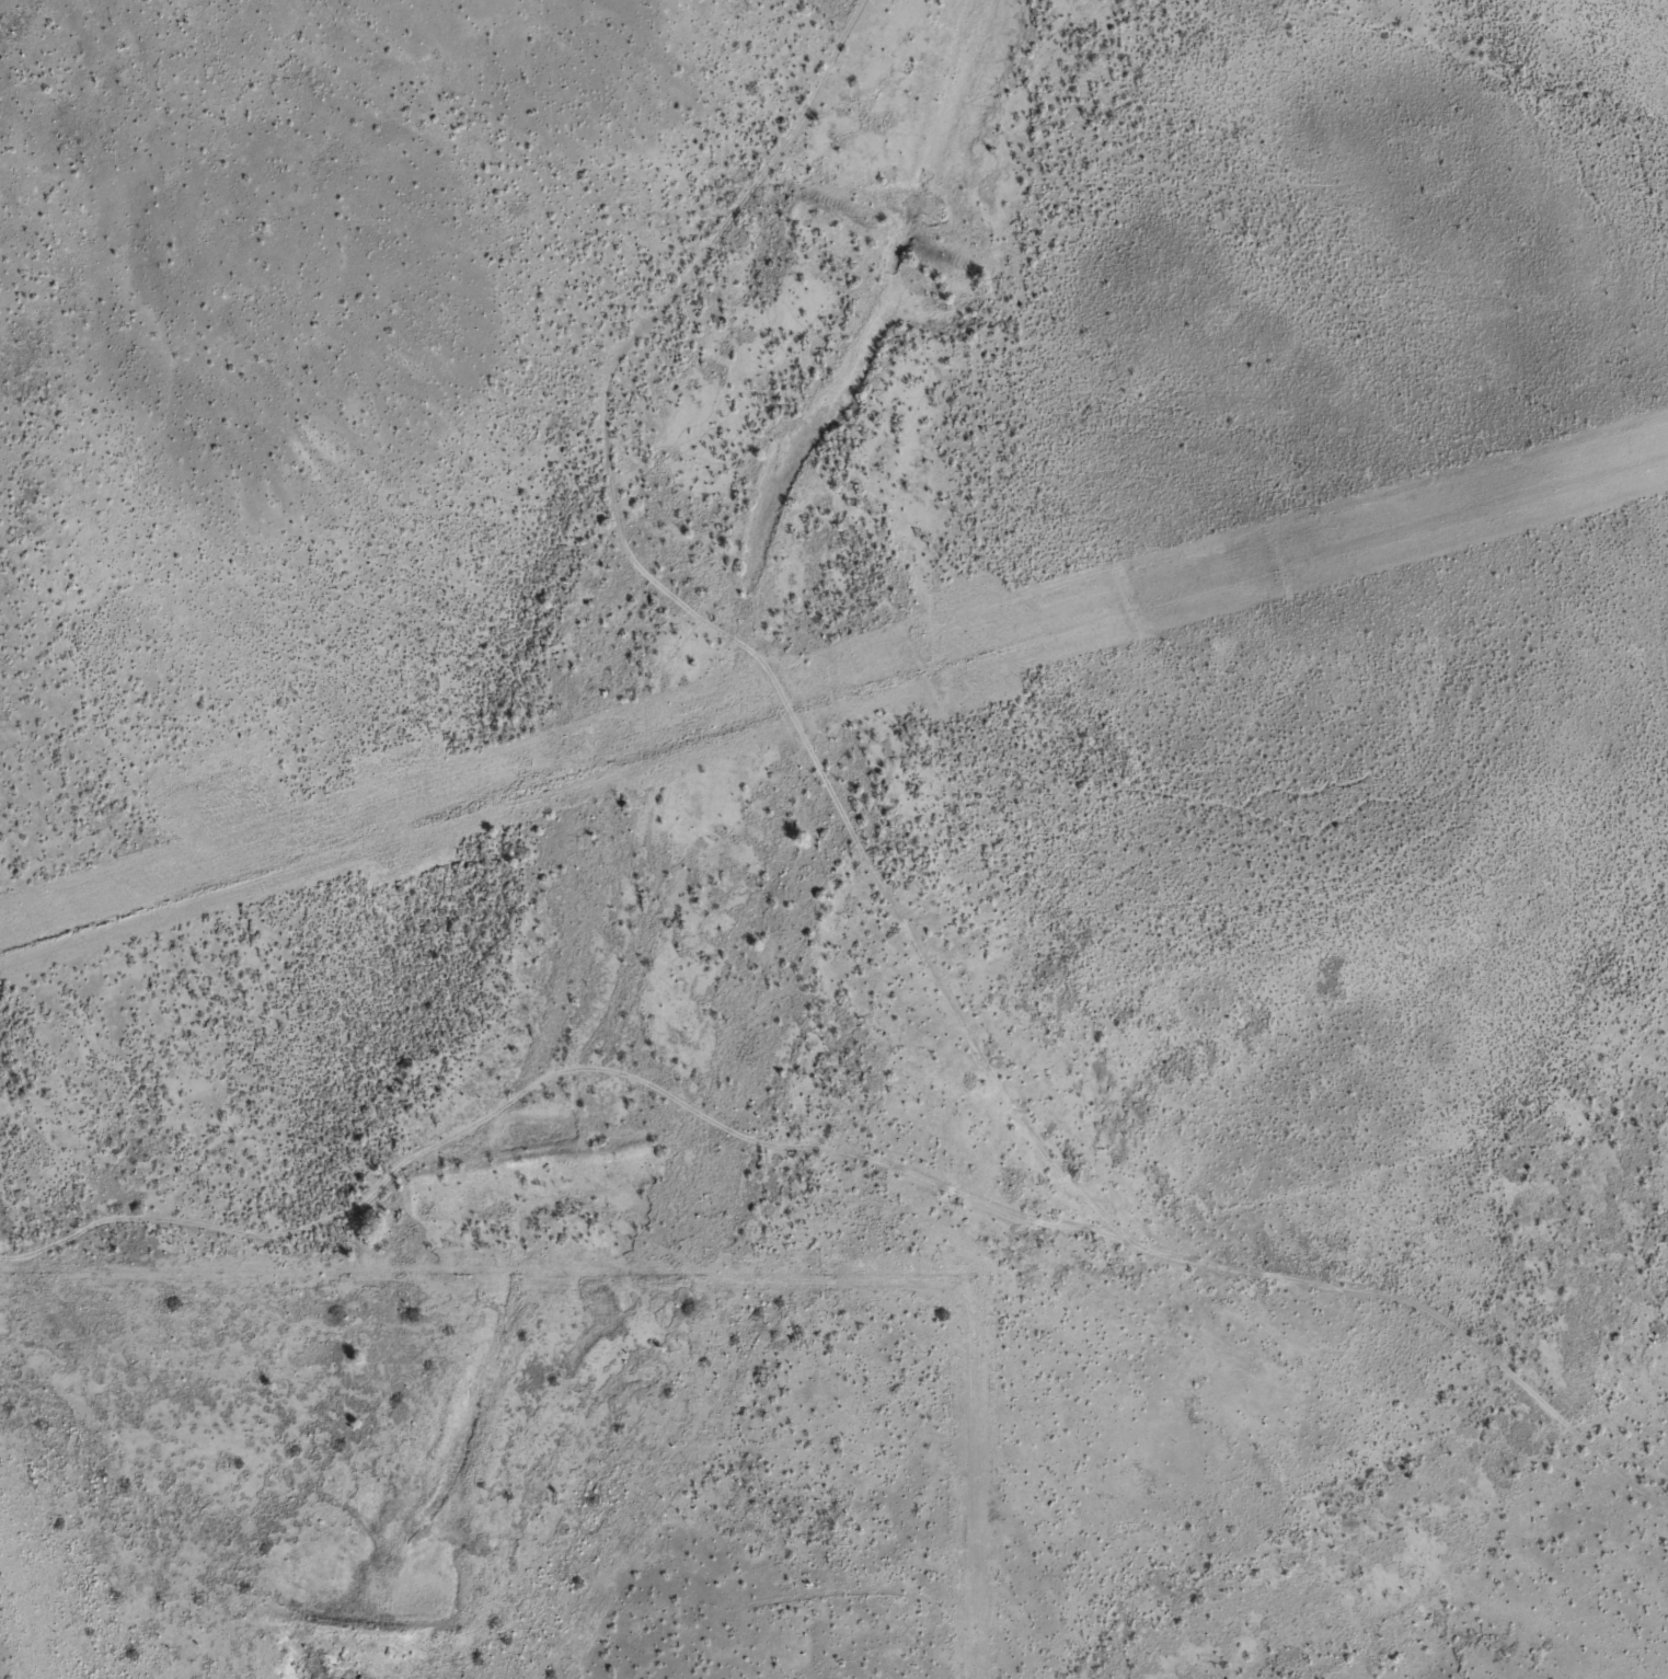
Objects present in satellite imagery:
road: (890, 870)

